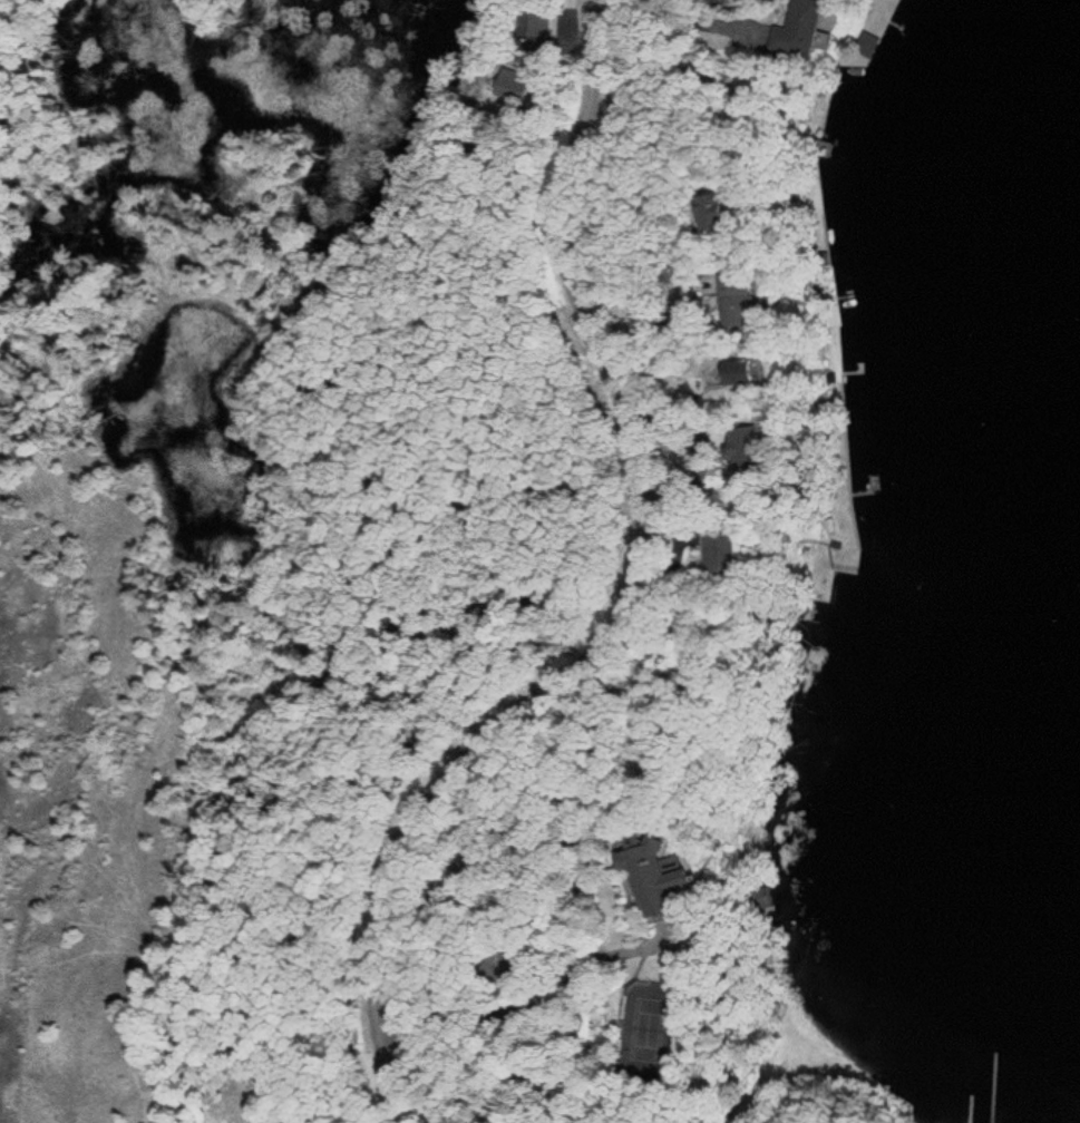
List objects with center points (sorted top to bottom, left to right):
building: (809, 28)
building: (745, 301)
building: (759, 373)
park: (260, 515)
building: (731, 553)
road: (635, 599)
building: (669, 882)
park: (653, 1027)
road: (751, 1106)

